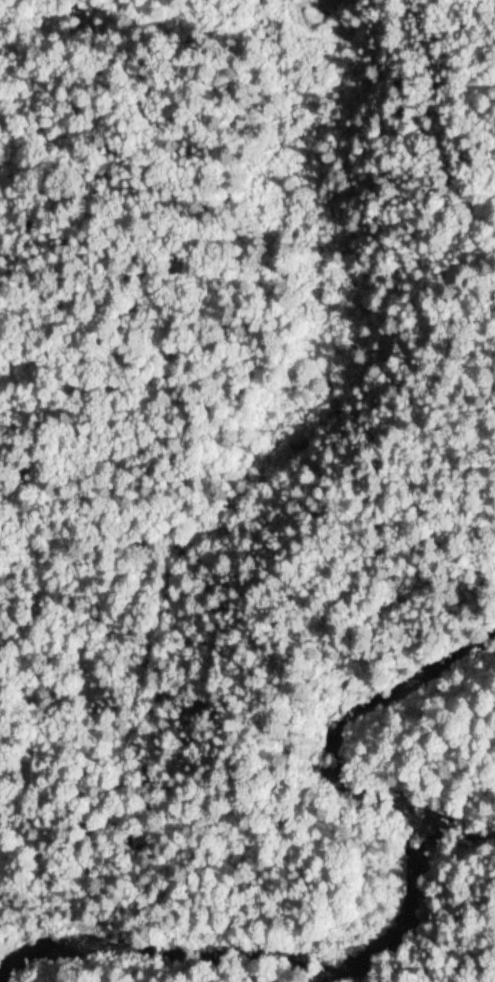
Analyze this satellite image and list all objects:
road: (423, 142)
road: (19, 819)
river: (392, 868)
river: (42, 952)

